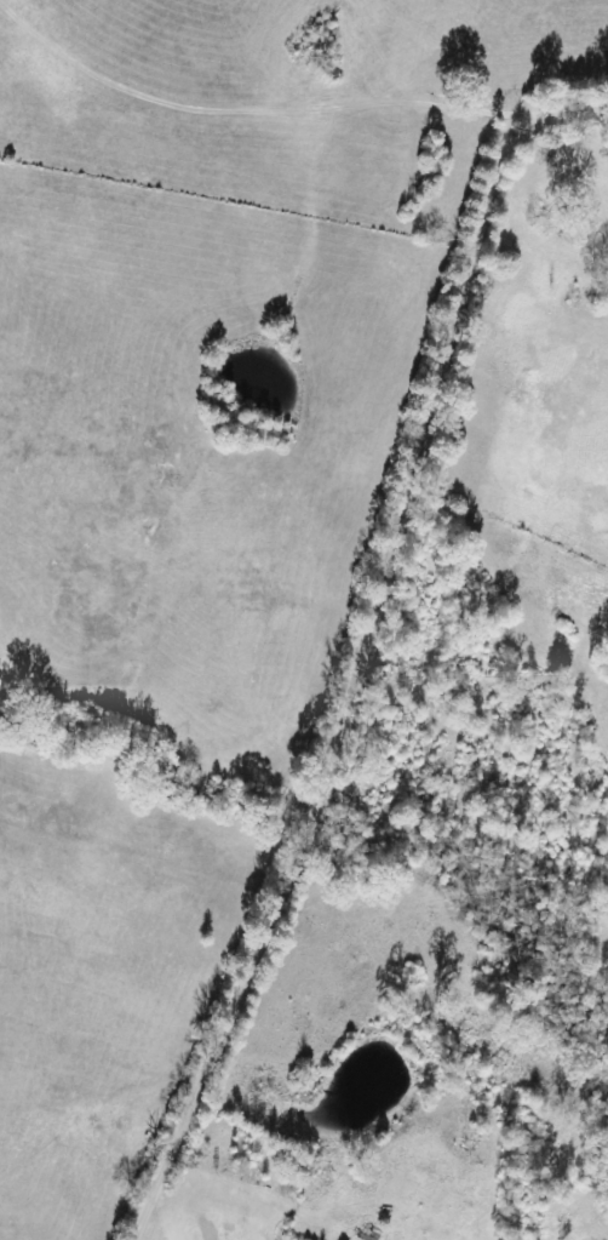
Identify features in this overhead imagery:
road: (374, 651)

